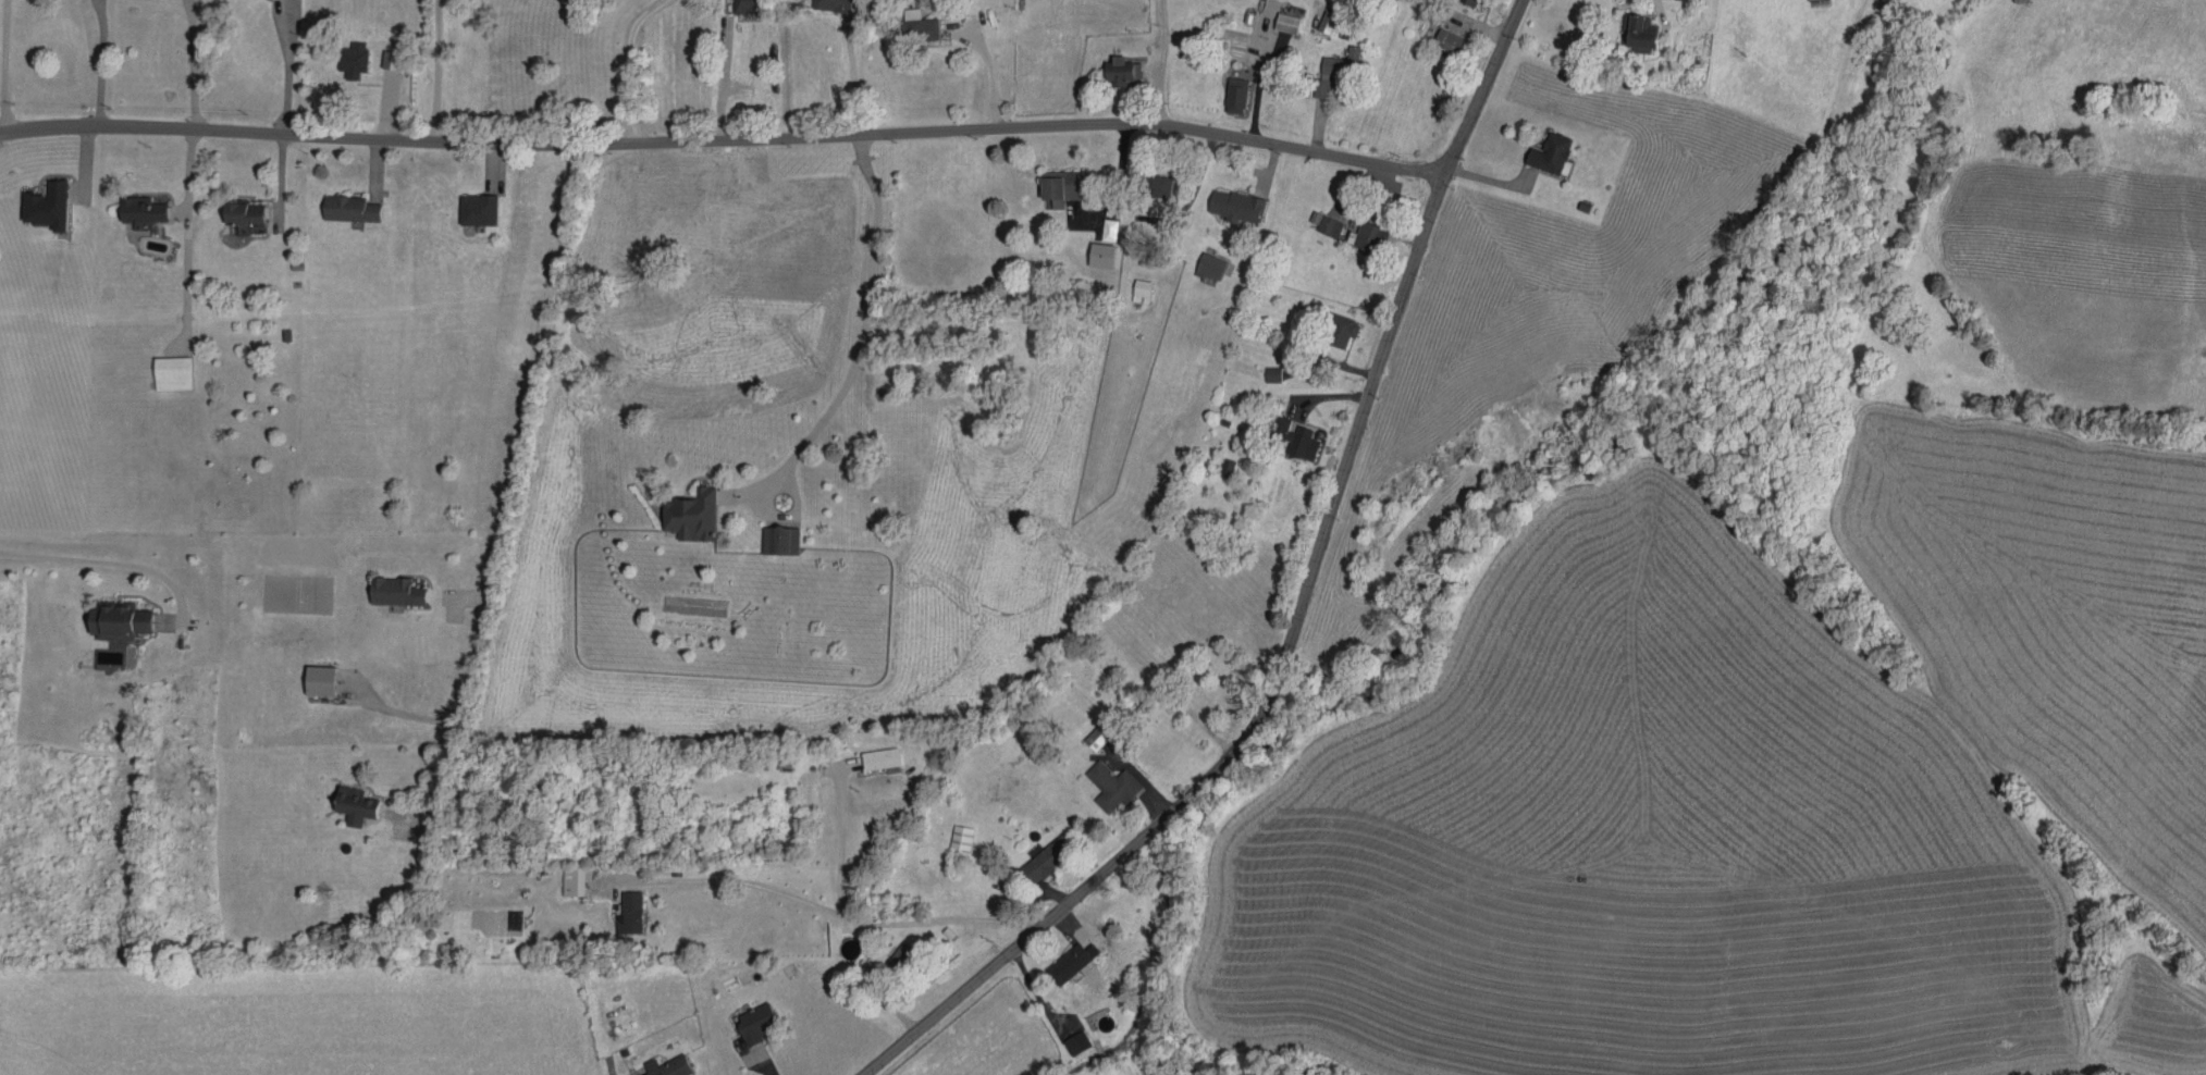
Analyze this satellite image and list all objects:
building: (1467, 0)
building: (825, 3)
building: (738, 5)
building: (1321, 17)
building: (1282, 20)
building: (912, 22)
building: (1632, 29)
building: (1443, 37)
building: (347, 55)
road: (98, 62)
road: (190, 63)
road: (628, 64)
road: (2, 66)
building: (1330, 66)
road: (285, 67)
building: (1114, 67)
road: (434, 71)
road: (986, 72)
road: (851, 76)
road: (716, 83)
building: (1230, 91)
road: (725, 141)
building: (1543, 150)
road: (1109, 175)
building: (1149, 182)
building: (1052, 183)
road: (1192, 193)
building: (40, 202)
building: (1230, 202)
building: (343, 205)
building: (471, 206)
building: (136, 207)
building: (237, 210)
building: (1320, 220)
road: (185, 233)
building: (1361, 234)
building: (1205, 262)
building: (1136, 287)
building: (1334, 325)
road: (859, 344)
building: (165, 369)
building: (1268, 370)
building: (1287, 437)
road: (506, 479)
building: (686, 512)
building: (774, 537)
road: (104, 560)
building: (387, 586)
road: (1301, 607)
building: (110, 616)
building: (876, 755)
building: (1106, 781)
building: (347, 800)
road: (837, 844)
building: (625, 907)
road: (831, 915)
power tower: (86, 941)
building: (1067, 959)
building: (750, 1018)
building: (1071, 1039)
building: (661, 1064)

